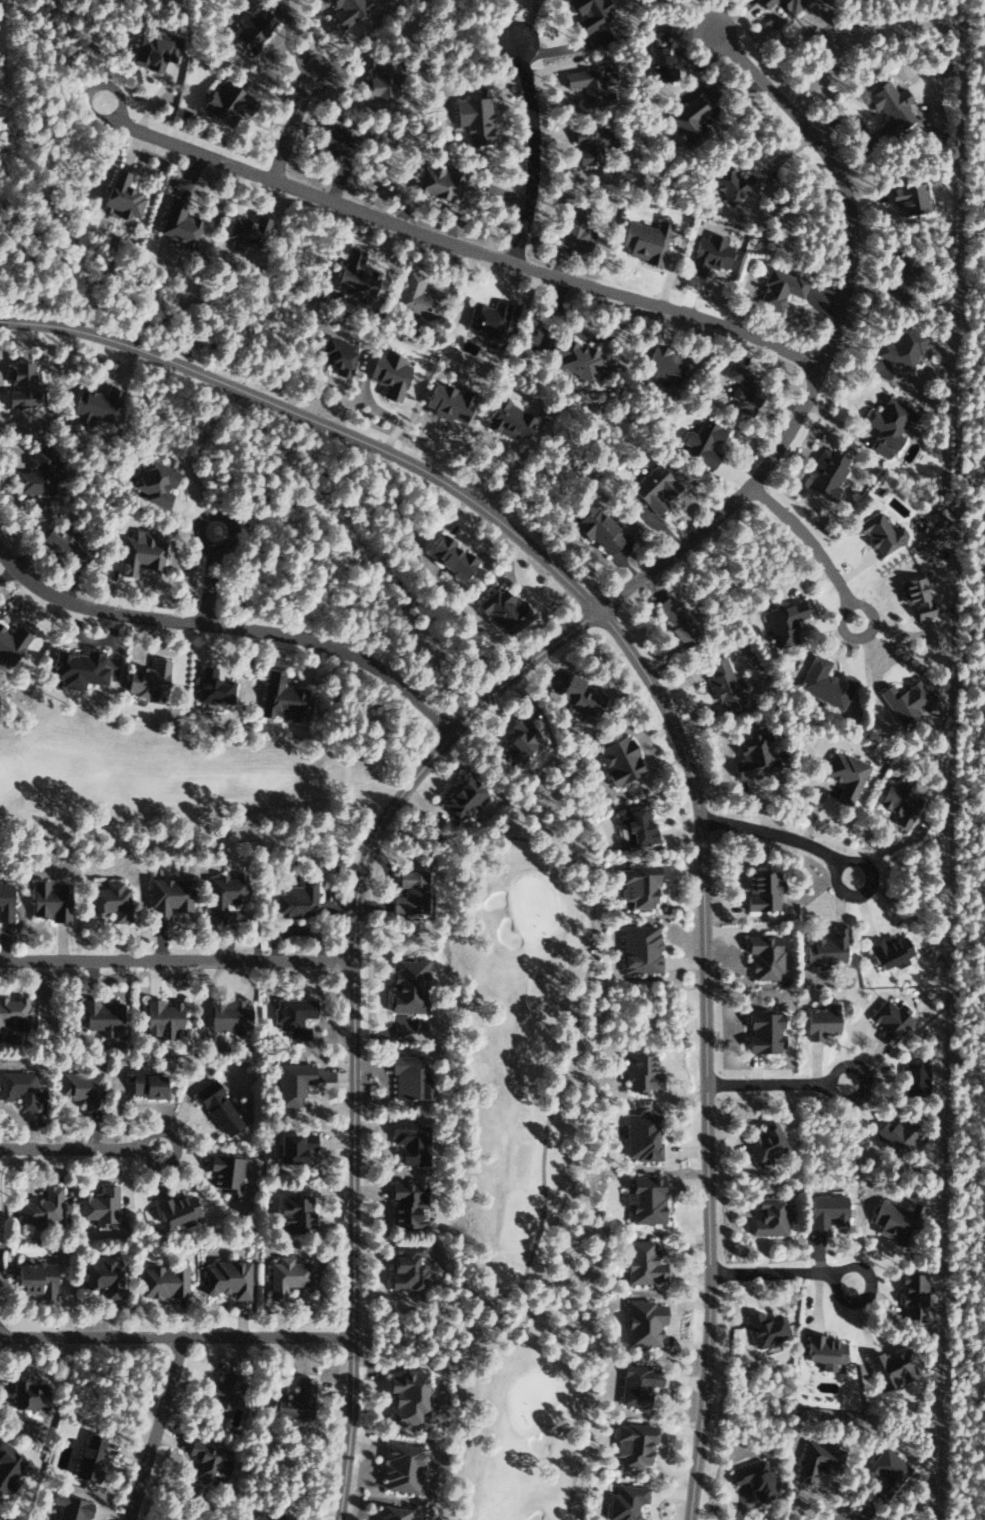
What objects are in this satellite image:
building: (765, 3)
building: (790, 5)
building: (345, 9)
building: (588, 13)
building: (251, 27)
building: (152, 47)
building: (658, 52)
building: (377, 77)
building: (590, 84)
building: (221, 101)
building: (890, 105)
building: (472, 118)
building: (687, 122)
road: (288, 136)
building: (329, 140)
building: (587, 143)
road: (537, 163)
building: (439, 182)
building: (731, 184)
building: (119, 195)
building: (908, 197)
building: (177, 223)
building: (572, 230)
building: (643, 240)
road: (464, 250)
building: (708, 253)
building: (901, 273)
building: (351, 275)
building: (779, 288)
building: (414, 297)
building: (487, 318)
building: (900, 347)
building: (337, 355)
building: (572, 357)
building: (661, 366)
building: (388, 373)
building: (18, 385)
building: (742, 389)
building: (447, 402)
building: (94, 404)
building: (507, 419)
building: (887, 425)
building: (702, 442)
building: (824, 472)
building: (34, 474)
building: (154, 482)
building: (653, 488)
road: (212, 513)
building: (594, 529)
building: (880, 533)
road: (807, 540)
building: (138, 552)
building: (449, 557)
road: (202, 585)
building: (915, 596)
building: (502, 612)
building: (676, 619)
building: (783, 622)
road: (233, 628)
building: (10, 644)
building: (75, 669)
building: (146, 680)
building: (722, 682)
building: (824, 683)
building: (212, 687)
building: (579, 696)
building: (280, 698)
building: (904, 701)
road: (481, 707)
road: (670, 718)
building: (517, 739)
building: (753, 755)
building: (618, 760)
building: (845, 775)
building: (462, 798)
building: (898, 802)
road: (284, 803)
building: (634, 826)
road: (768, 832)
road: (90, 834)
road: (836, 861)
building: (638, 885)
building: (760, 891)
building: (410, 892)
building: (222, 895)
building: (166, 897)
building: (294, 900)
building: (47, 901)
building: (110, 901)
building: (4, 902)
building: (638, 949)
building: (825, 950)
building: (890, 952)
building: (762, 956)
road: (177, 964)
road: (590, 972)
building: (406, 985)
building: (13, 1011)
building: (292, 1015)
building: (100, 1016)
building: (160, 1017)
building: (889, 1020)
building: (819, 1022)
building: (418, 1023)
building: (762, 1032)
building: (639, 1070)
building: (407, 1074)
building: (914, 1077)
building: (290, 1082)
building: (145, 1084)
building: (81, 1086)
building: (18, 1087)
road: (789, 1087)
building: (215, 1106)
park: (527, 1126)
building: (897, 1134)
building: (640, 1136)
building: (408, 1140)
building: (763, 1141)
building: (292, 1146)
road: (70, 1152)
building: (224, 1172)
building: (644, 1198)
building: (405, 1203)
building: (99, 1205)
building: (41, 1206)
building: (176, 1209)
building: (826, 1211)
building: (292, 1213)
building: (769, 1216)
building: (893, 1219)
building: (641, 1261)
building: (404, 1266)
building: (103, 1275)
building: (286, 1276)
building: (33, 1277)
building: (226, 1277)
road: (789, 1279)
building: (162, 1280)
building: (911, 1294)
building: (642, 1322)
building: (765, 1328)
road: (176, 1339)
building: (824, 1350)
building: (888, 1367)
building: (636, 1383)
road: (584, 1391)
building: (26, 1394)
building: (220, 1396)
building: (406, 1396)
building: (294, 1400)
road: (155, 1429)
building: (633, 1444)
building: (87, 1458)
building: (815, 1459)
building: (207, 1460)
building: (8, 1467)
building: (400, 1467)
building: (886, 1471)
building: (754, 1478)
building: (624, 1501)
building: (68, 1507)
building: (392, 1513)
building: (271, 1516)

